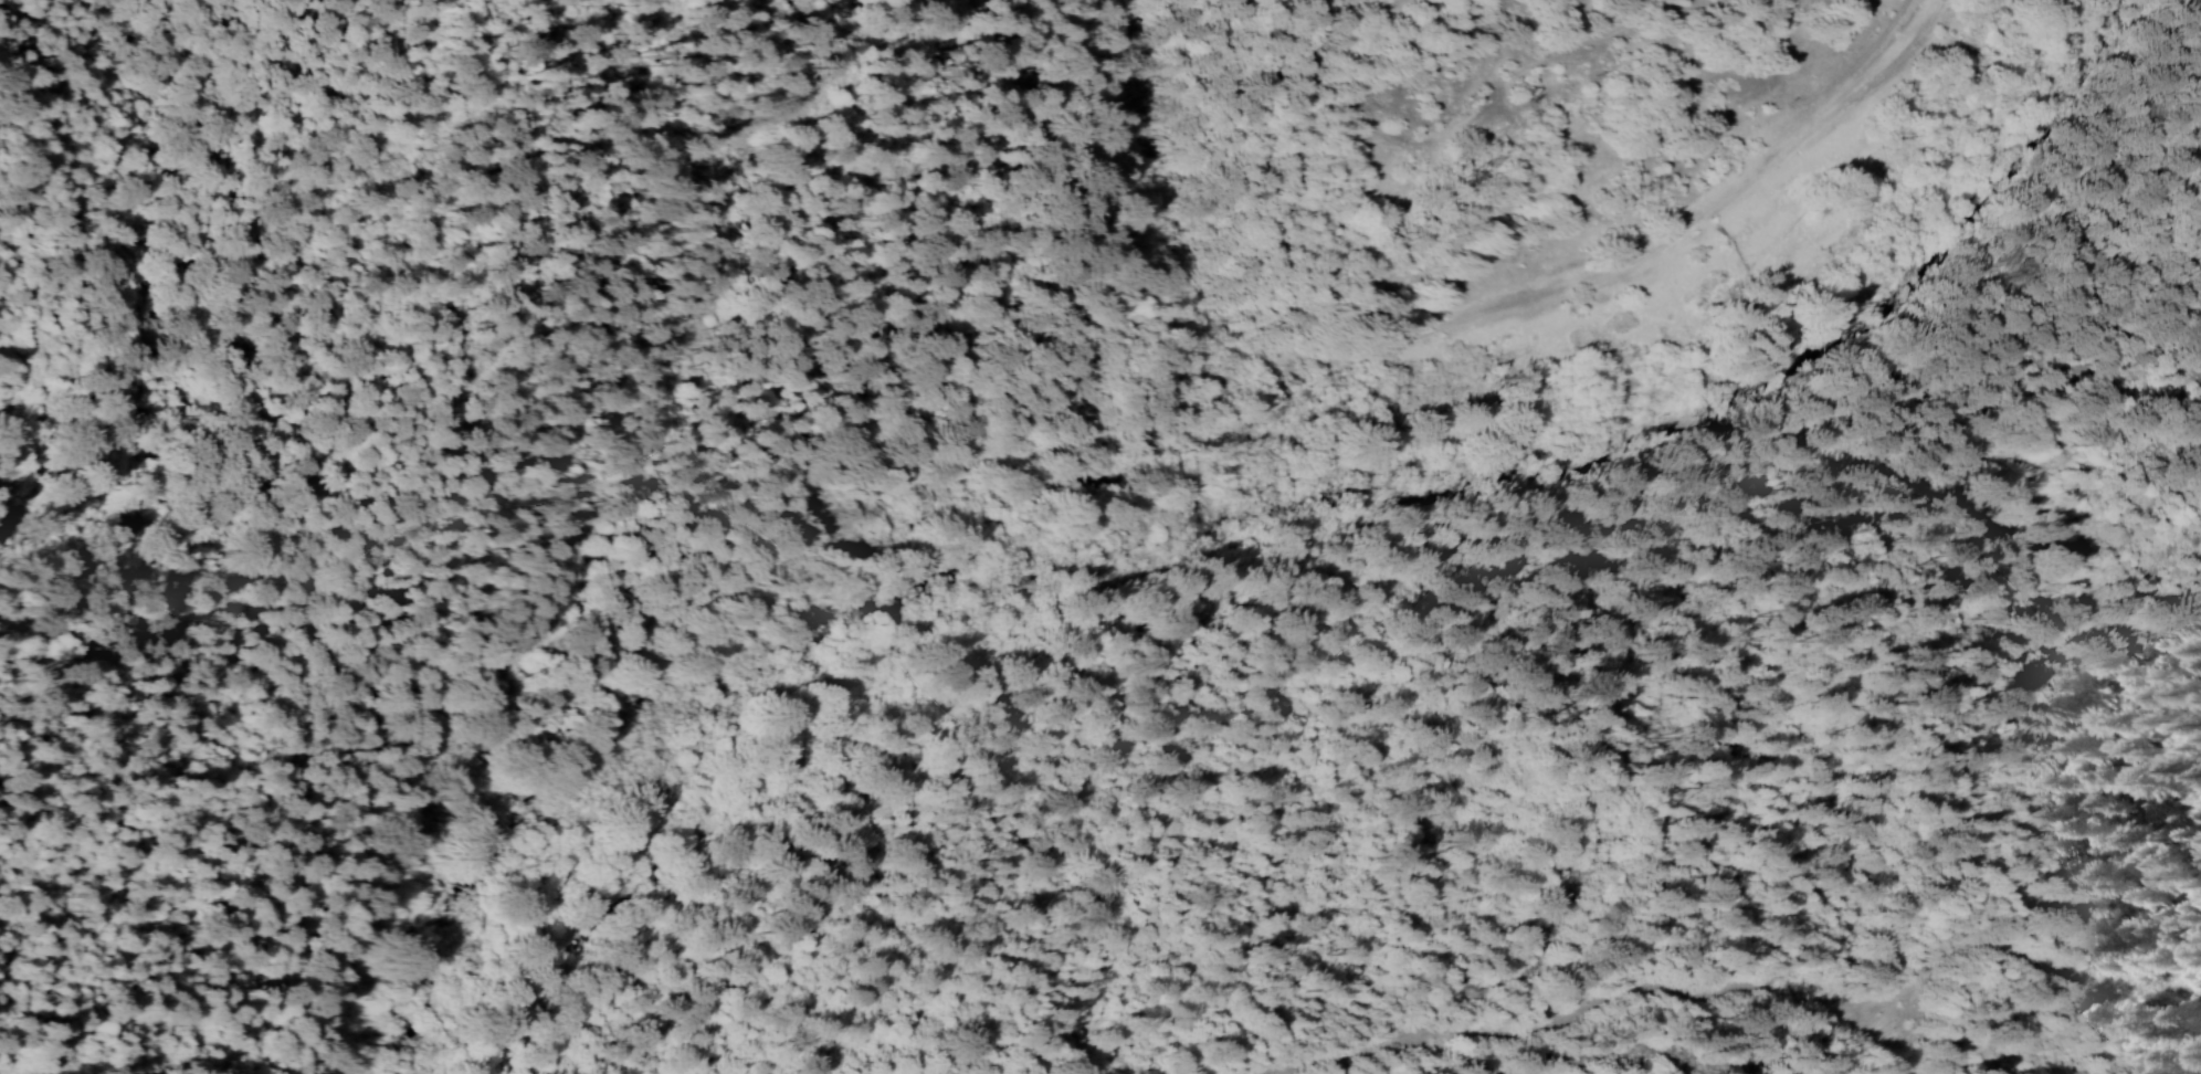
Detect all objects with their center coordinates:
road: (1474, 50)
road: (1062, 452)
river: (1285, 554)

